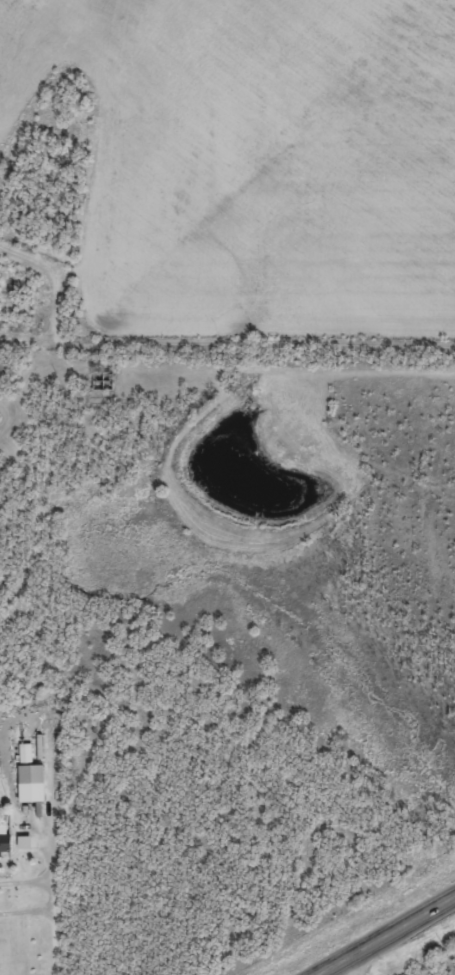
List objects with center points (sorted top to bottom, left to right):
building: (25, 752)
building: (30, 773)
building: (23, 841)
building: (4, 842)
road: (388, 937)
road: (351, 968)

